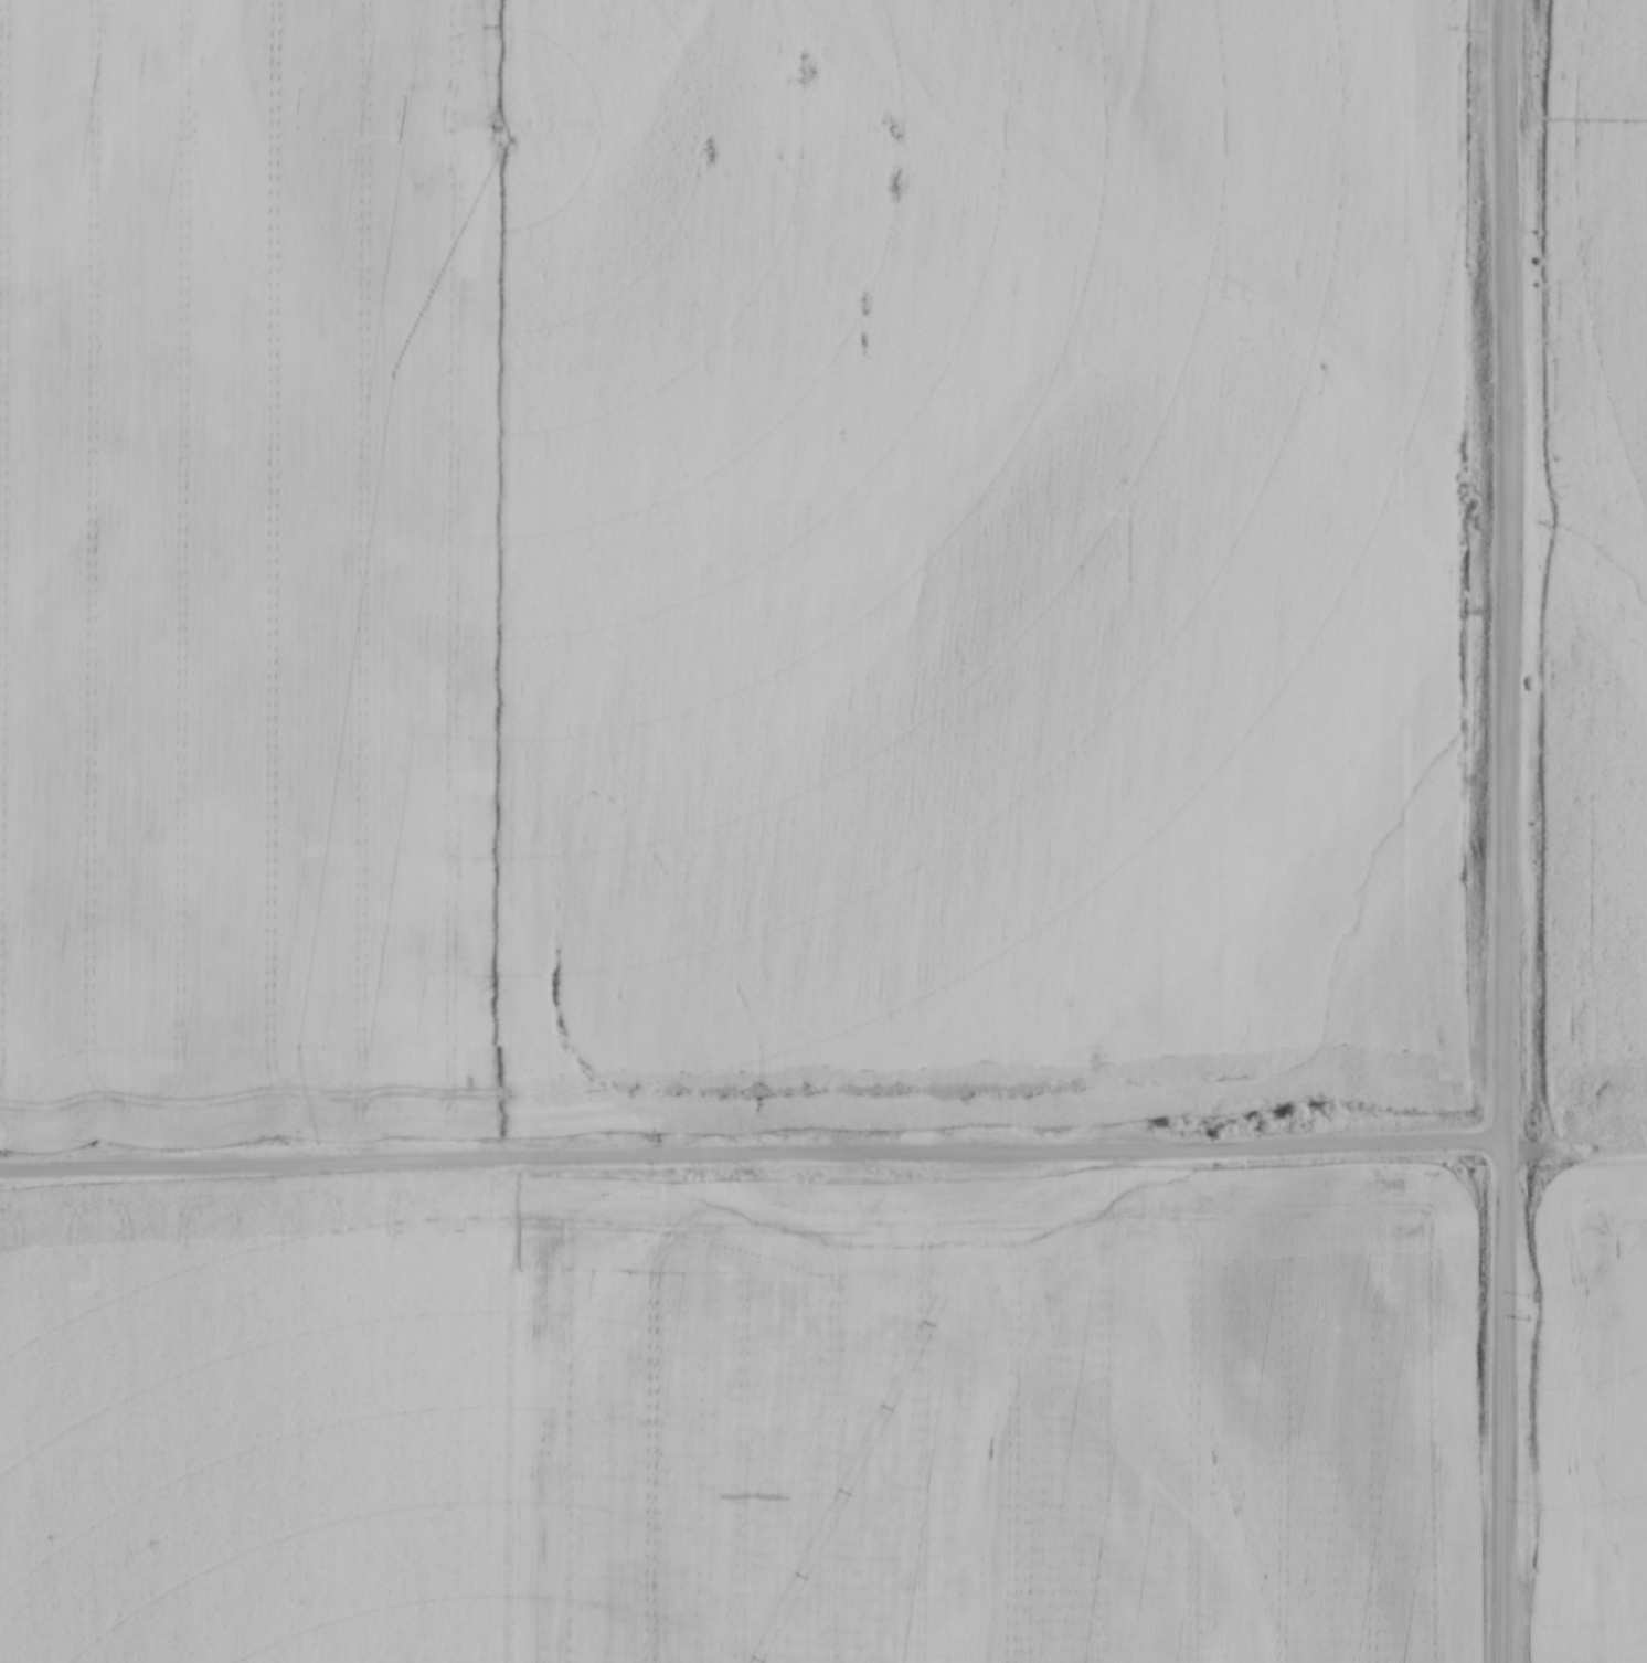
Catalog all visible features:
road: (1506, 830)
road: (752, 1163)

